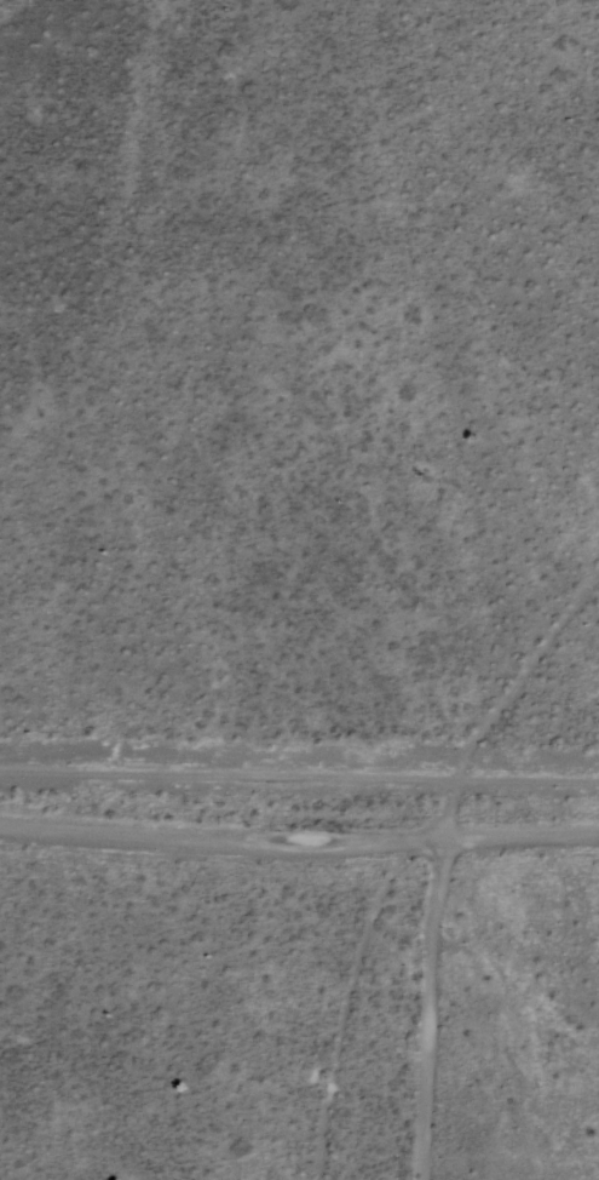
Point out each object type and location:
road: (524, 717)
road: (299, 790)
road: (434, 984)

